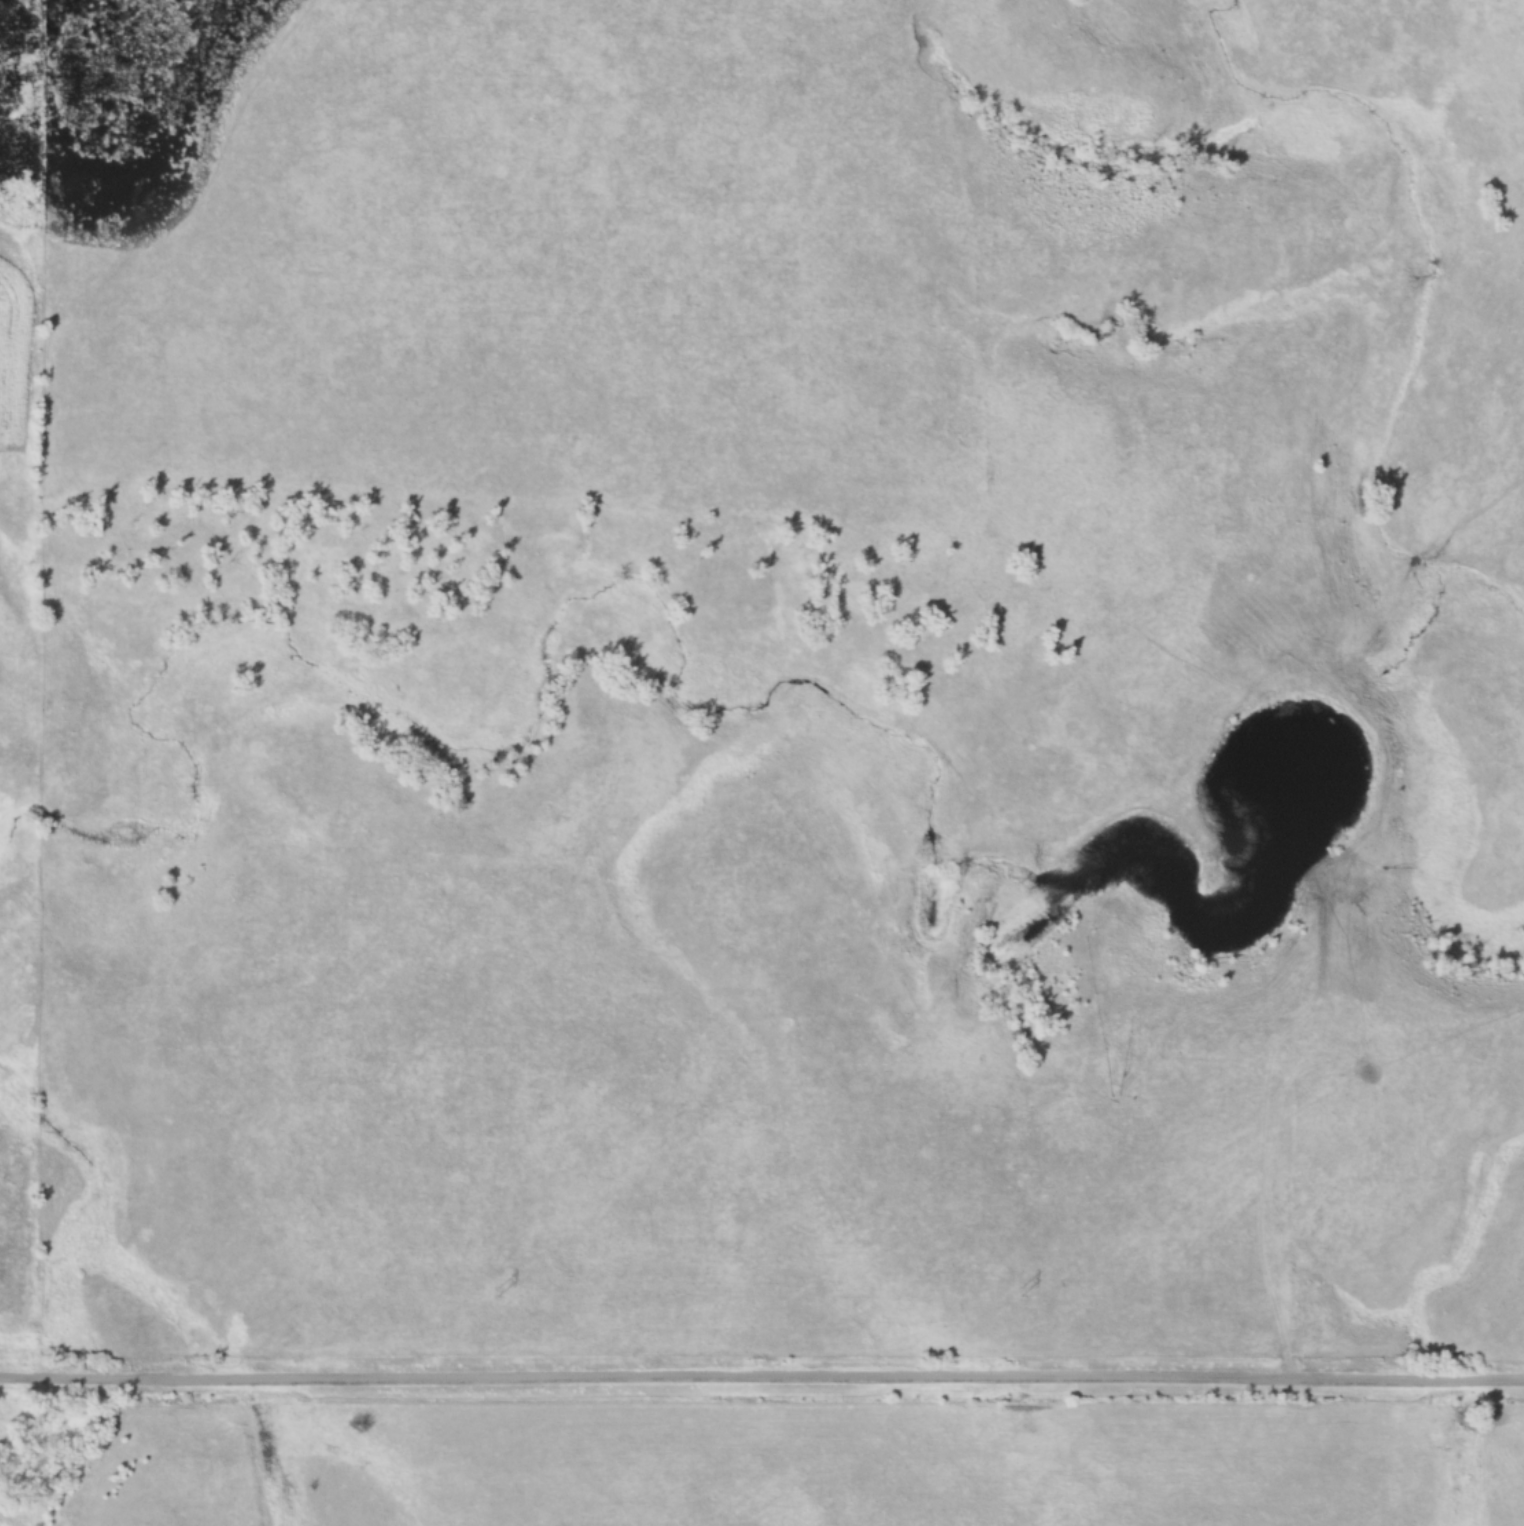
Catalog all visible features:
power tower: (495, 1291)
power tower: (1018, 1292)
road: (762, 1376)

